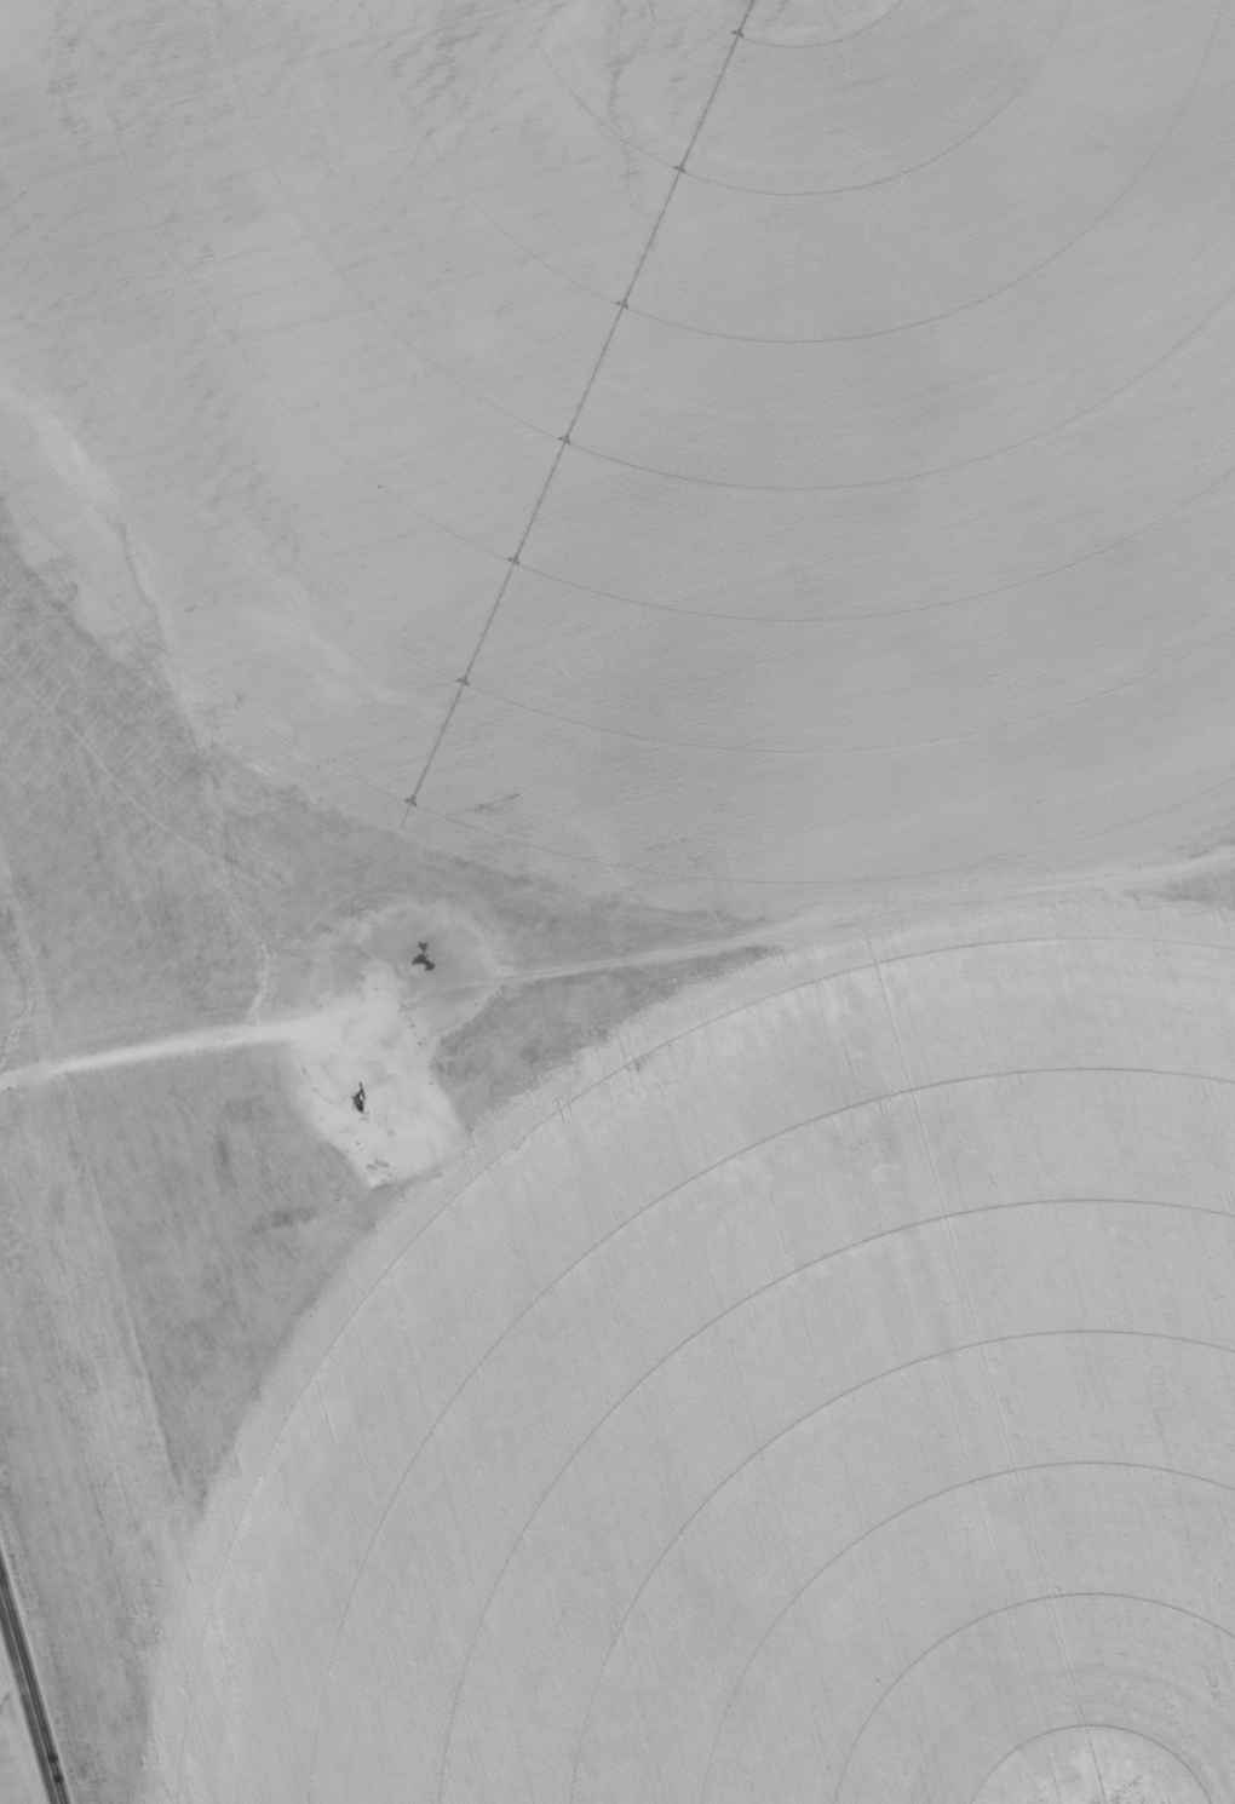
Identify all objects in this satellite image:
road: (27, 1702)

